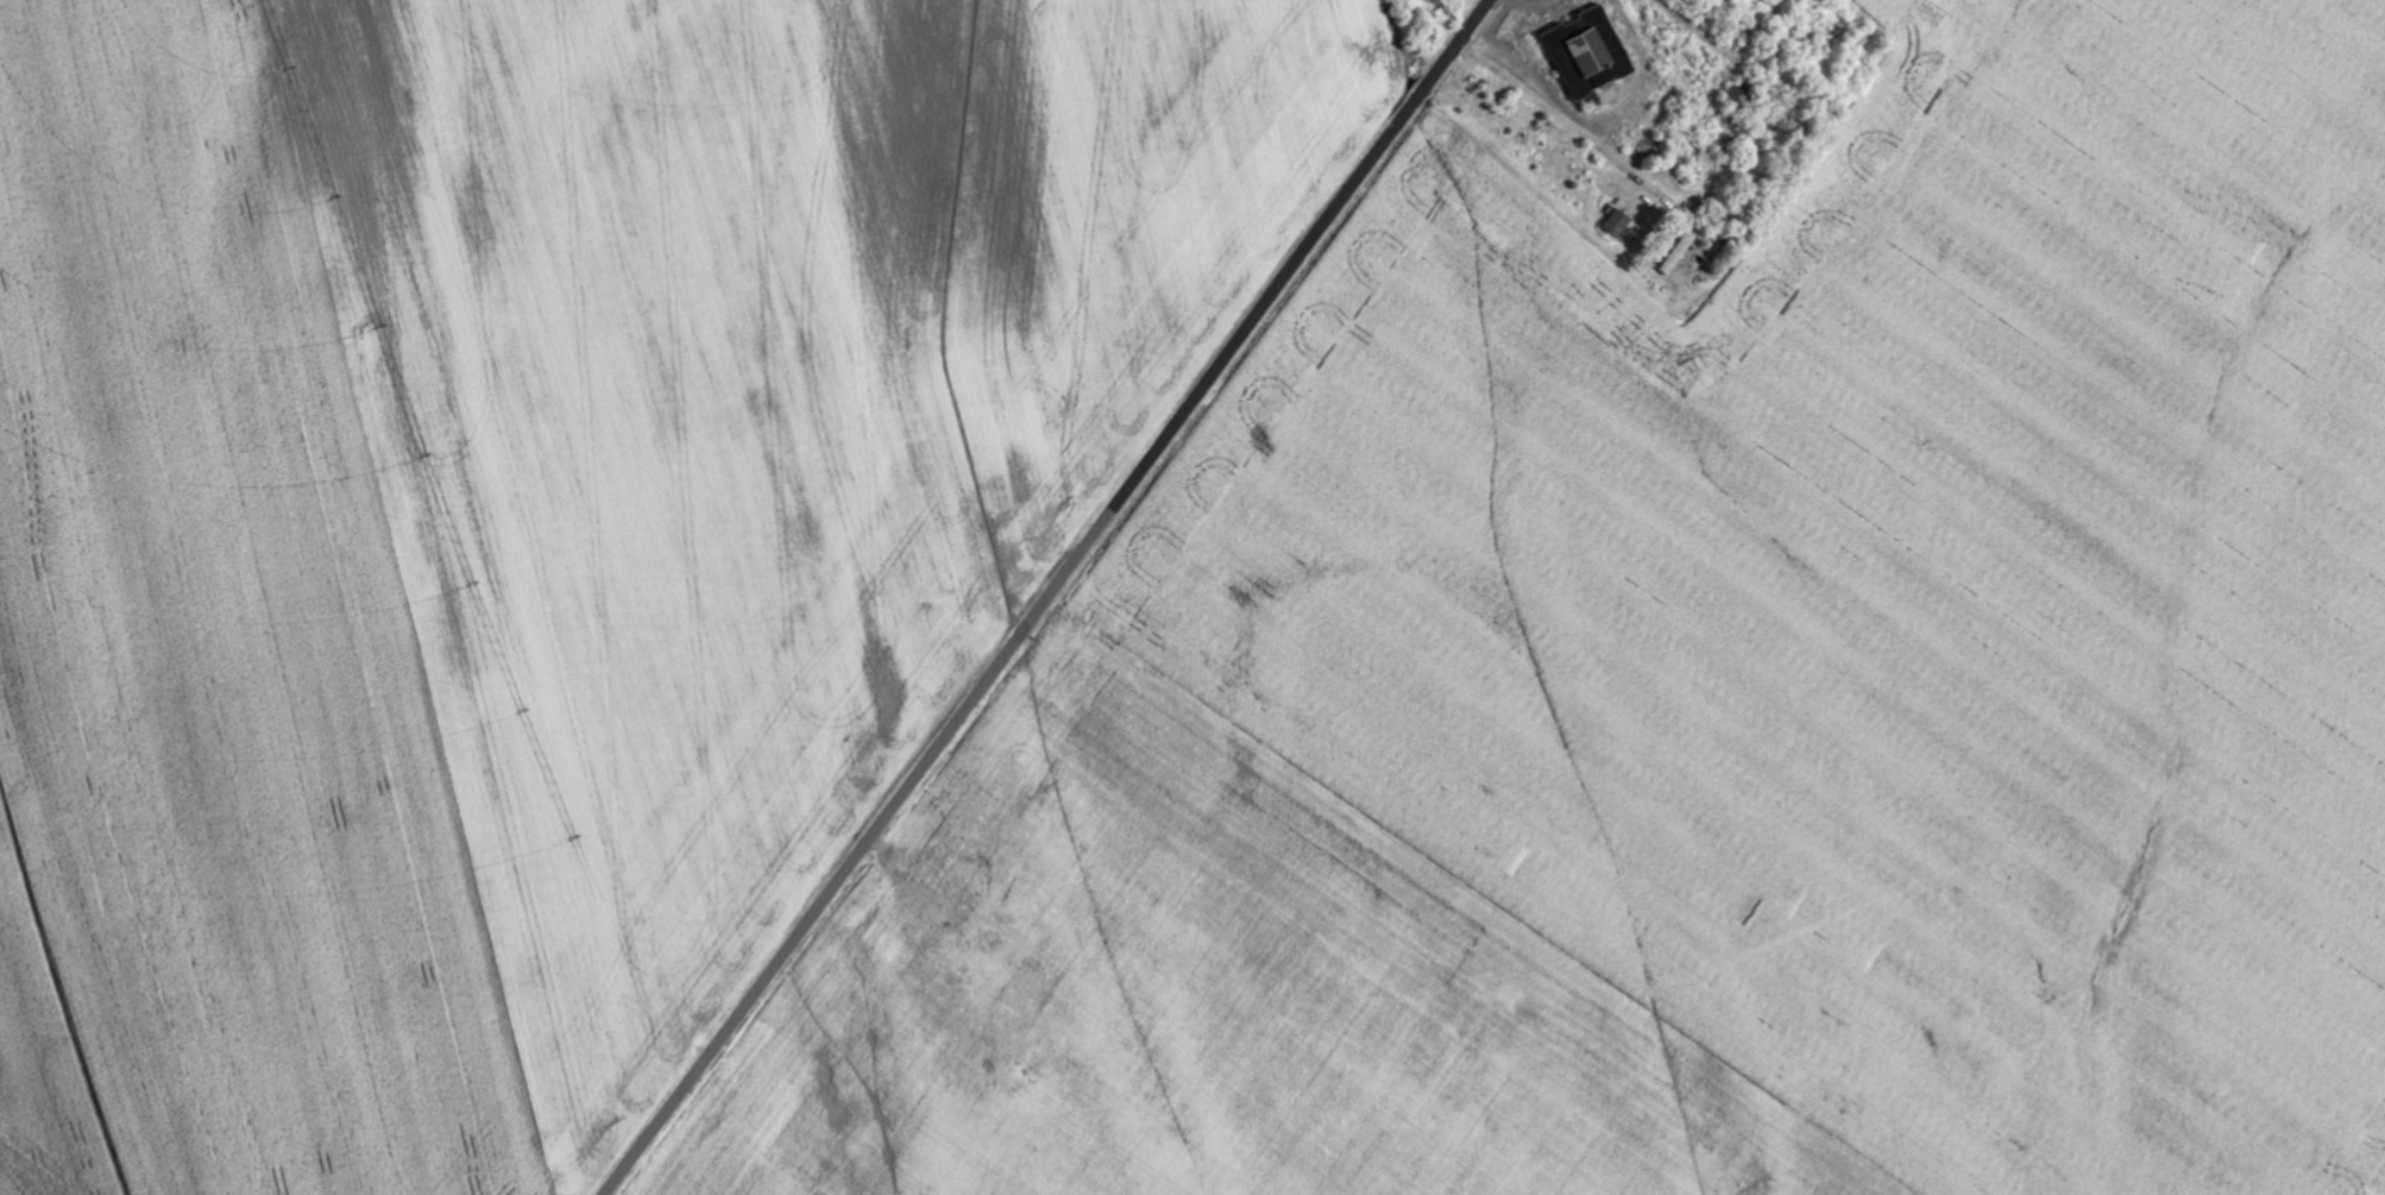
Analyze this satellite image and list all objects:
road: (1569, 122)
road: (1046, 598)

